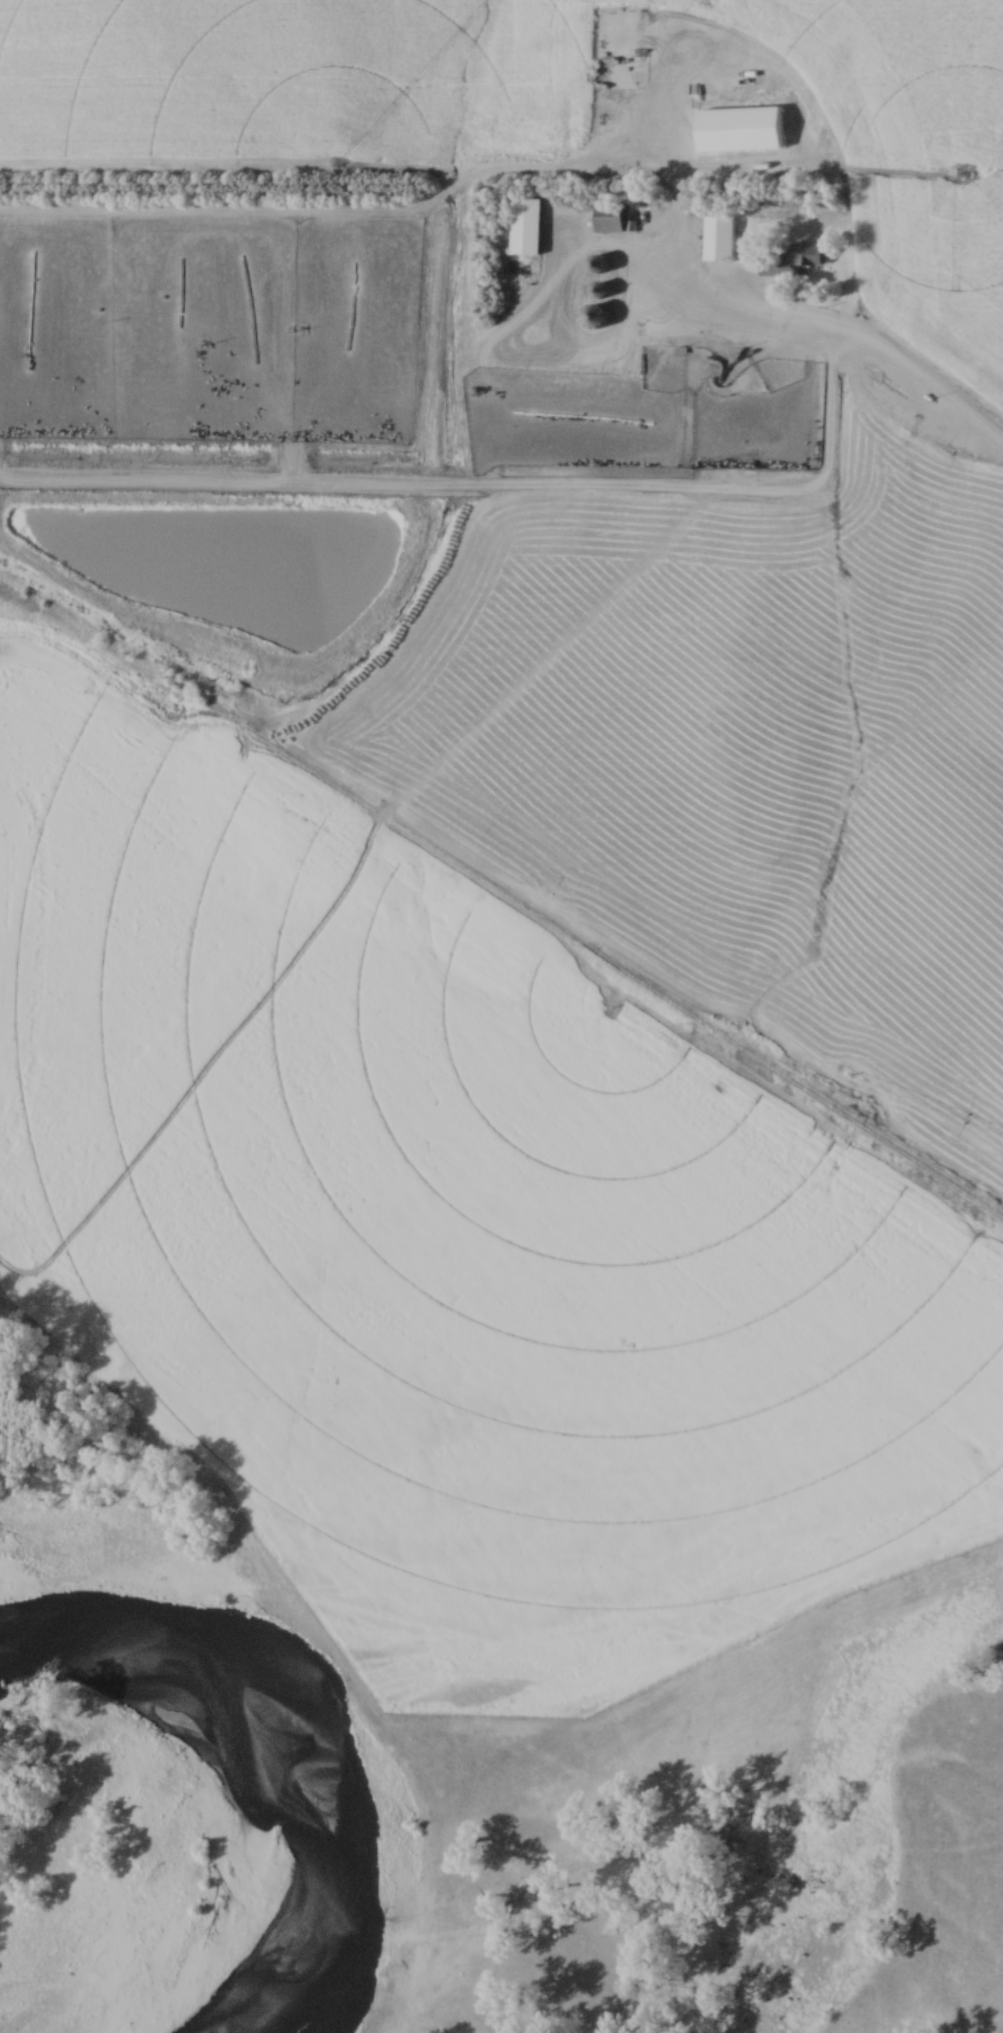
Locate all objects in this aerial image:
building: (609, 219)
building: (525, 227)
building: (718, 239)
building: (791, 262)
building: (595, 316)
road: (838, 338)
building: (629, 360)
building: (898, 386)
railway: (513, 844)
river: (304, 1743)

